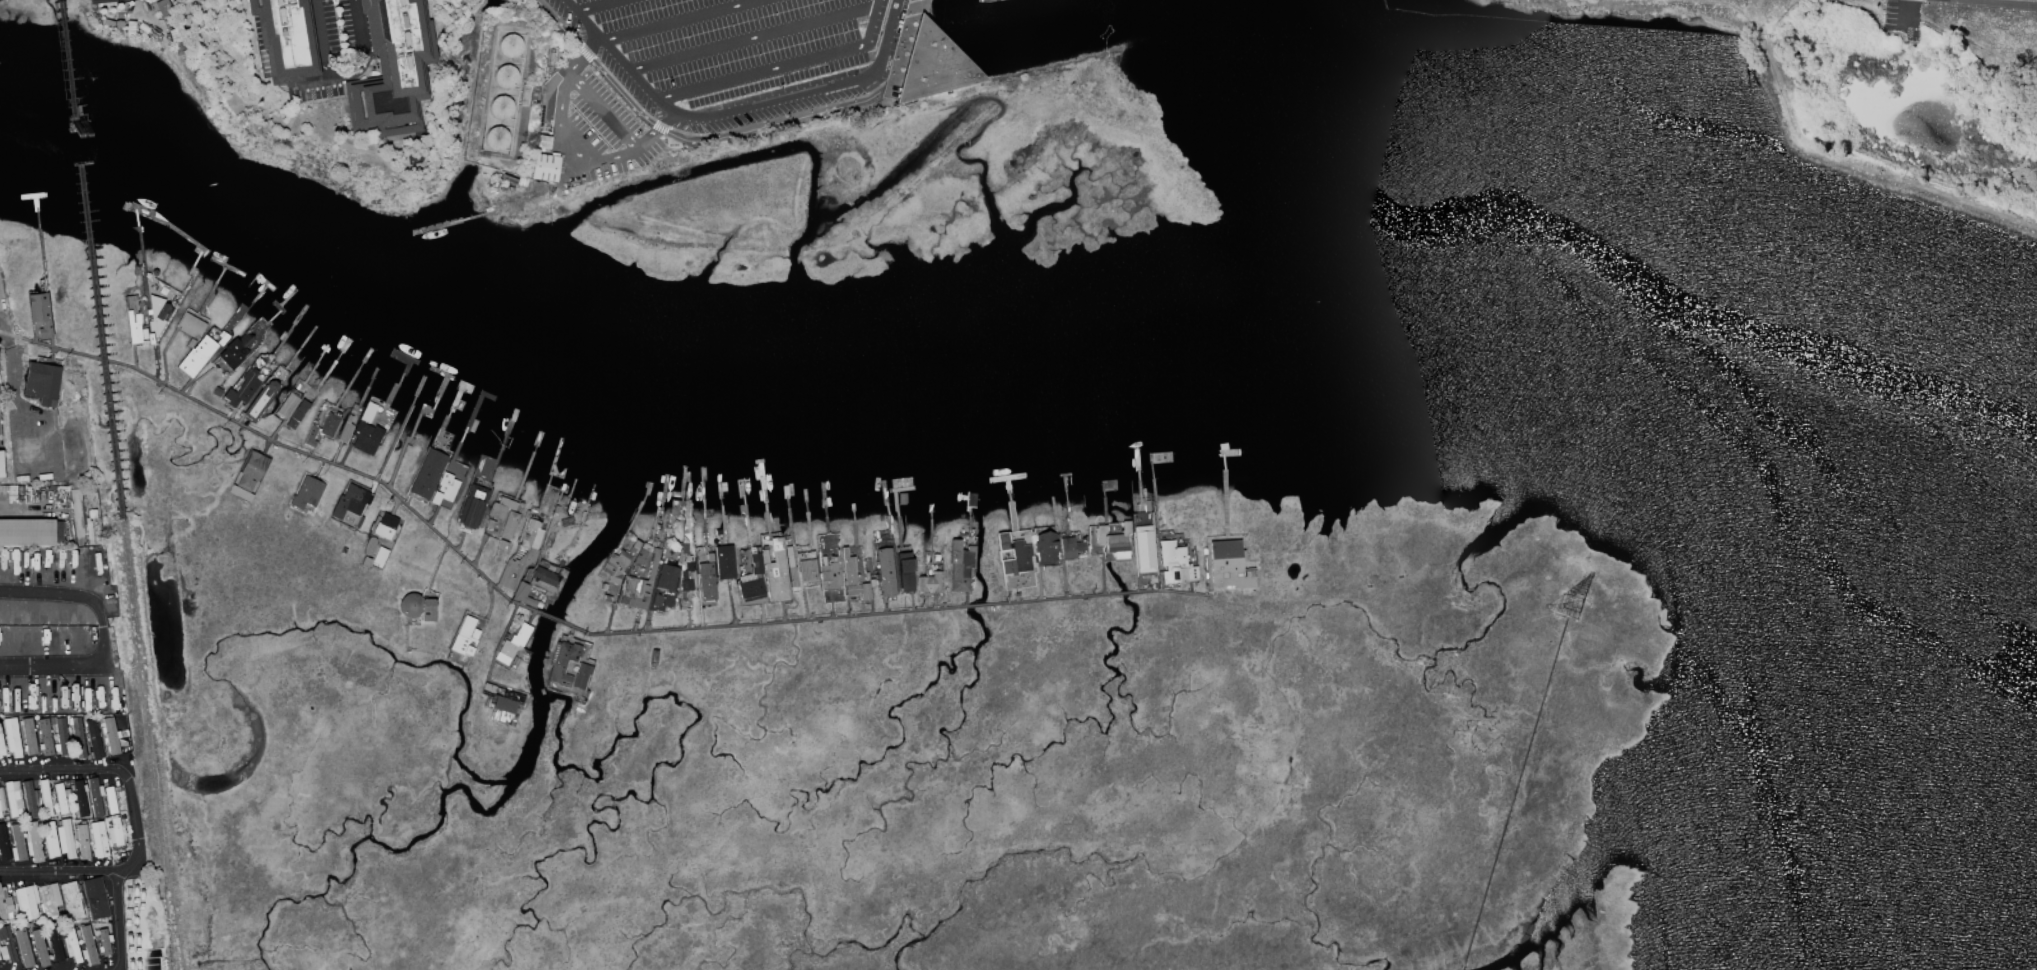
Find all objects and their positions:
building: (99, 1)
road: (1989, 3)
road: (595, 6)
road: (1714, 6)
building: (162, 8)
road: (1912, 11)
road: (1880, 14)
parking lot: (1902, 17)
road: (678, 21)
road: (751, 38)
building: (279, 39)
road: (316, 39)
road: (908, 40)
road: (1974, 44)
building: (509, 46)
storage tank: (509, 46)
road: (357, 50)
pier: (938, 53)
parking lot: (724, 55)
road: (779, 66)
building: (932, 66)
railway: (66, 68)
building: (386, 68)
building: (505, 77)
storage tank: (505, 77)
road: (303, 82)
park: (1916, 92)
building: (500, 107)
storage tank: (500, 107)
road: (734, 110)
road: (602, 112)
building: (496, 138)
storage tank: (496, 138)
building: (542, 142)
road: (691, 142)
road: (571, 145)
railway: (76, 149)
road: (1847, 160)
building: (544, 167)
building: (39, 313)
building: (157, 314)
building: (190, 325)
building: (133, 328)
river: (603, 333)
railway: (99, 341)
building: (235, 351)
building: (196, 357)
building: (42, 383)
building: (242, 389)
building: (216, 392)
building: (259, 401)
road: (21, 404)
building: (292, 408)
building: (329, 424)
building: (345, 430)
building: (366, 432)
building: (310, 438)
building: (0, 466)
building: (250, 471)
building: (427, 474)
building: (445, 489)
building: (306, 493)
building: (900, 499)
building: (971, 500)
building: (351, 503)
building: (472, 506)
road: (25, 507)
building: (500, 508)
building: (489, 524)
building: (508, 525)
building: (384, 526)
building: (30, 532)
building: (1119, 543)
building: (502, 545)
building: (368, 546)
building: (1070, 547)
building: (1045, 549)
building: (1144, 550)
building: (641, 554)
building: (1015, 555)
building: (520, 556)
building: (935, 556)
building: (723, 562)
building: (619, 563)
building: (1175, 563)
building: (960, 566)
building: (1229, 566)
building: (790, 568)
building: (807, 570)
building: (776, 572)
building: (885, 572)
building: (903, 573)
building: (830, 575)
building: (687, 576)
building: (666, 578)
building: (852, 578)
building: (547, 581)
building: (751, 581)
building: (706, 582)
building: (930, 583)
building: (639, 586)
building: (521, 591)
building: (606, 599)
building: (656, 600)
power tower: (1569, 606)
building: (416, 607)
road: (570, 630)
road: (105, 635)
building: (464, 637)
building: (512, 644)
building: (561, 662)
building: (570, 669)
building: (580, 676)
railway: (141, 697)
building: (503, 699)
building: (28, 736)
building: (12, 737)
building: (45, 737)
building: (61, 737)
building: (109, 737)
building: (77, 738)
building: (92, 739)
building: (1, 745)
building: (95, 797)
building: (13, 798)
building: (30, 798)
building: (61, 798)
building: (80, 798)
building: (45, 799)
building: (109, 800)
building: (1, 802)
building: (0, 816)
road: (136, 823)
building: (114, 833)
building: (50, 840)
building: (65, 840)
building: (97, 840)
building: (33, 842)
building: (82, 842)
building: (18, 844)
building: (3, 845)
building: (95, 898)
building: (72, 900)
building: (49, 901)
building: (26, 902)
building: (5, 904)
road: (118, 921)
railway: (168, 923)
building: (103, 942)
building: (54, 945)
building: (7, 946)
building: (71, 946)
building: (87, 946)
building: (23, 948)
building: (40, 948)

